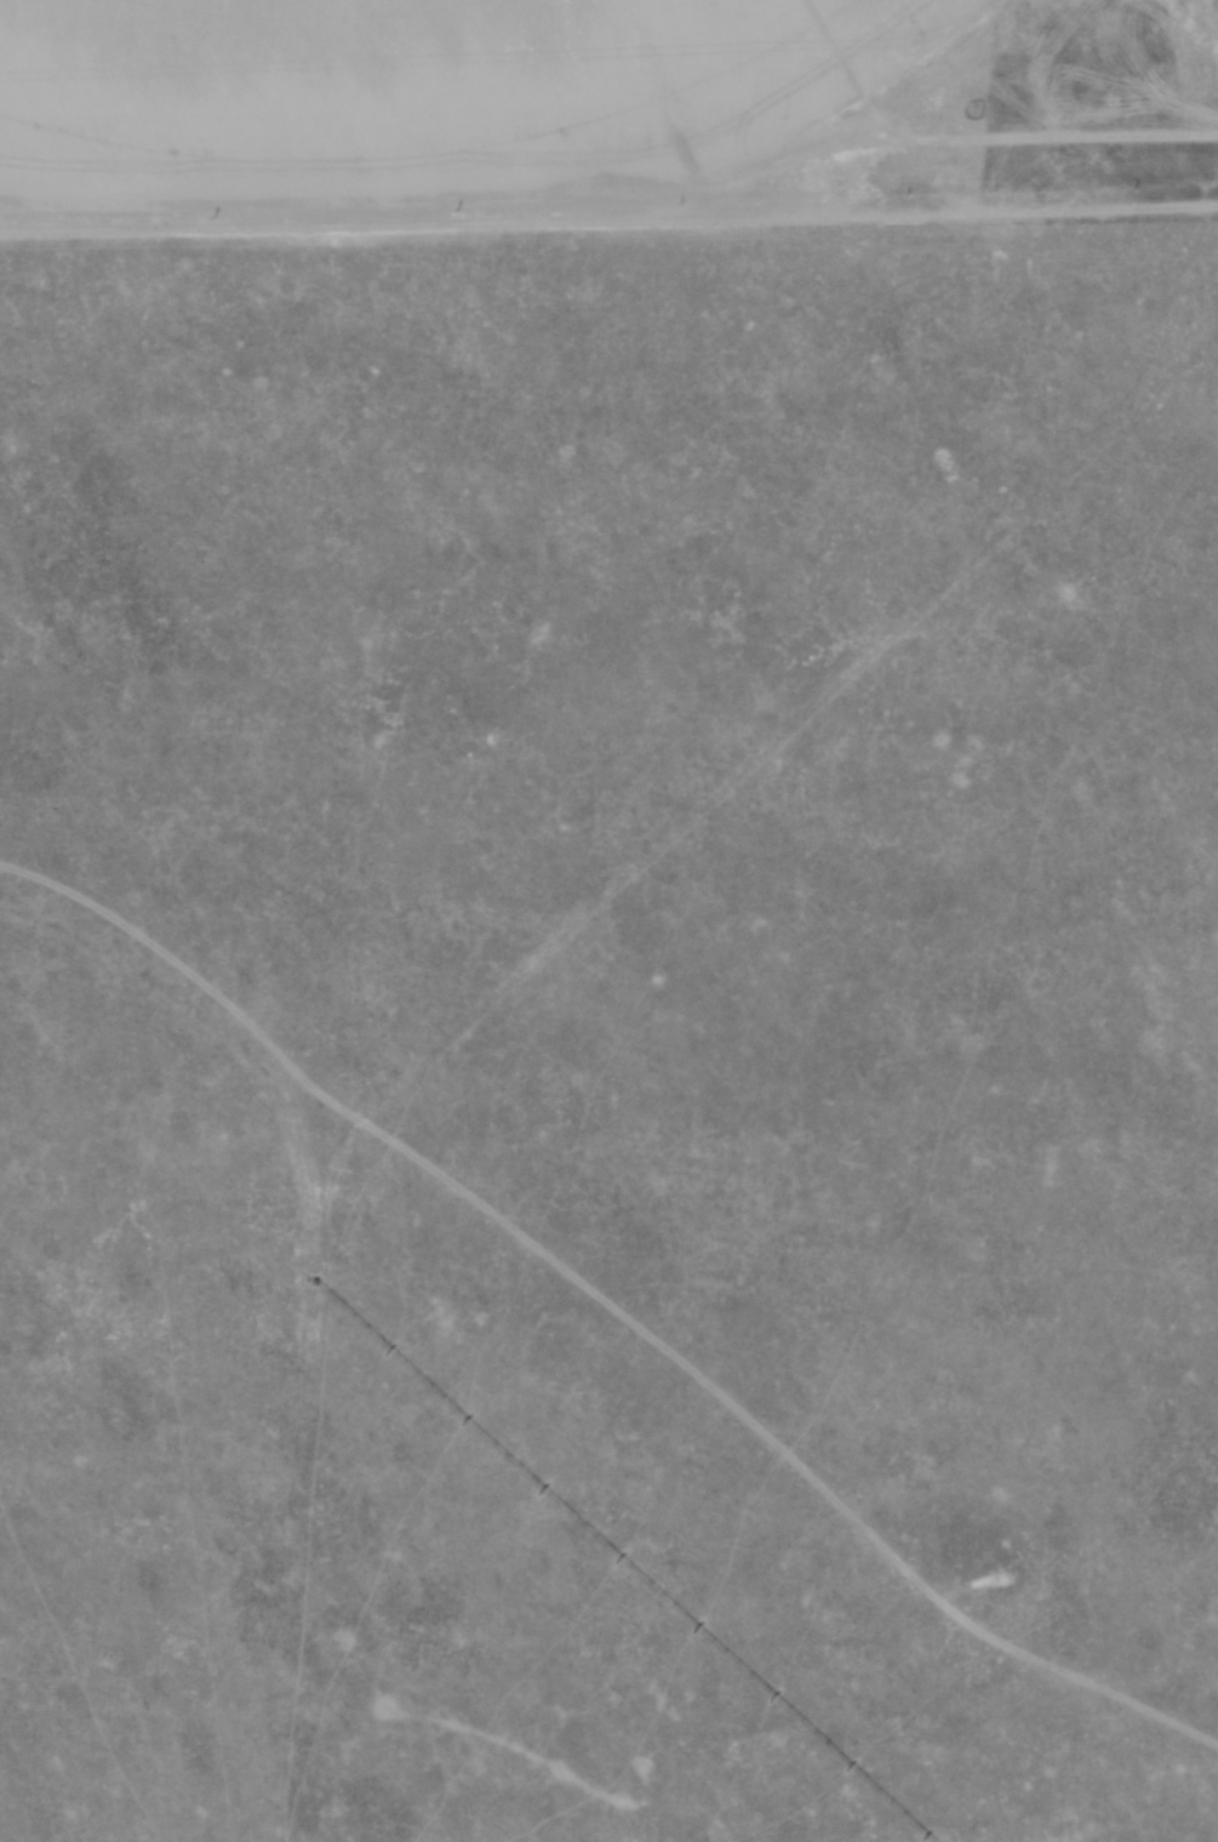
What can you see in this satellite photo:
crop: (416, 82)

